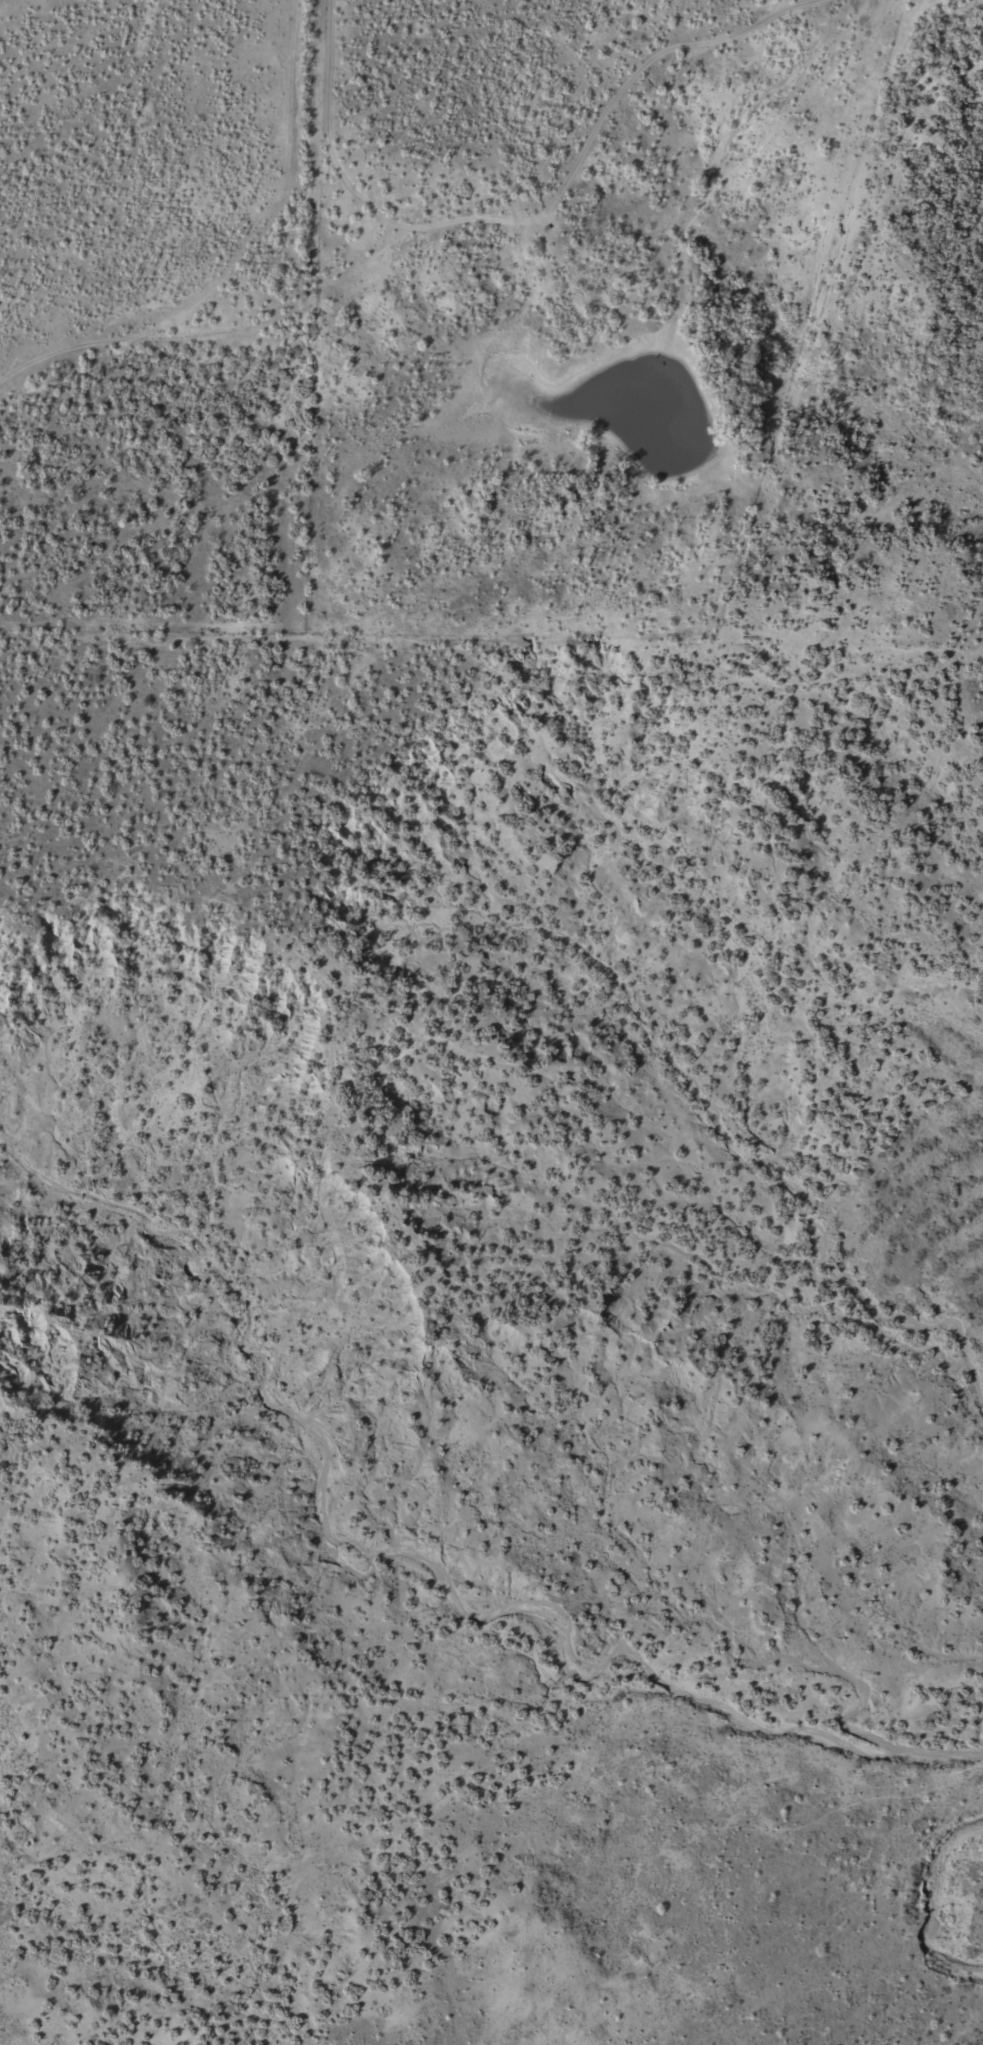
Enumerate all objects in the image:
road: (380, 219)

